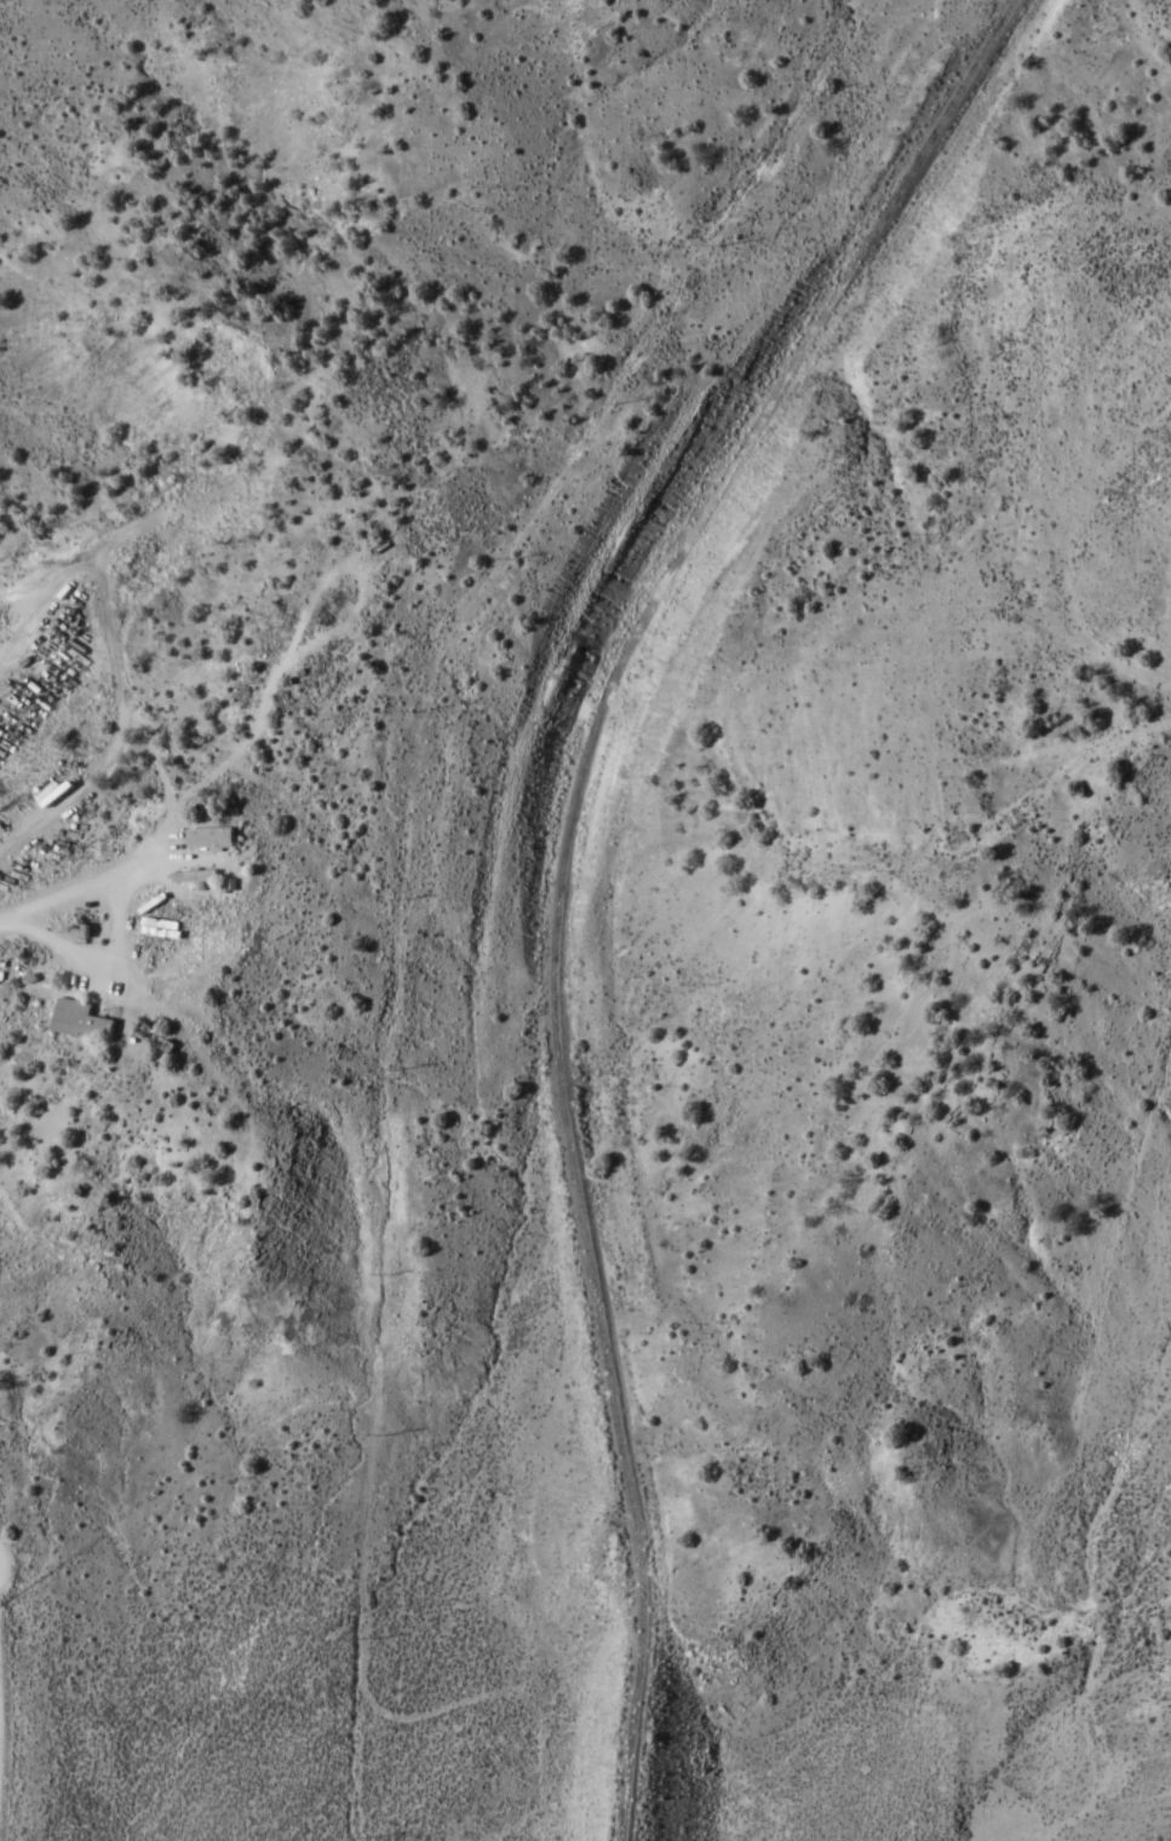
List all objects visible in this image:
railway: (598, 733)
building: (57, 793)
building: (212, 839)
building: (163, 927)
building: (82, 1020)
railway: (645, 1703)

